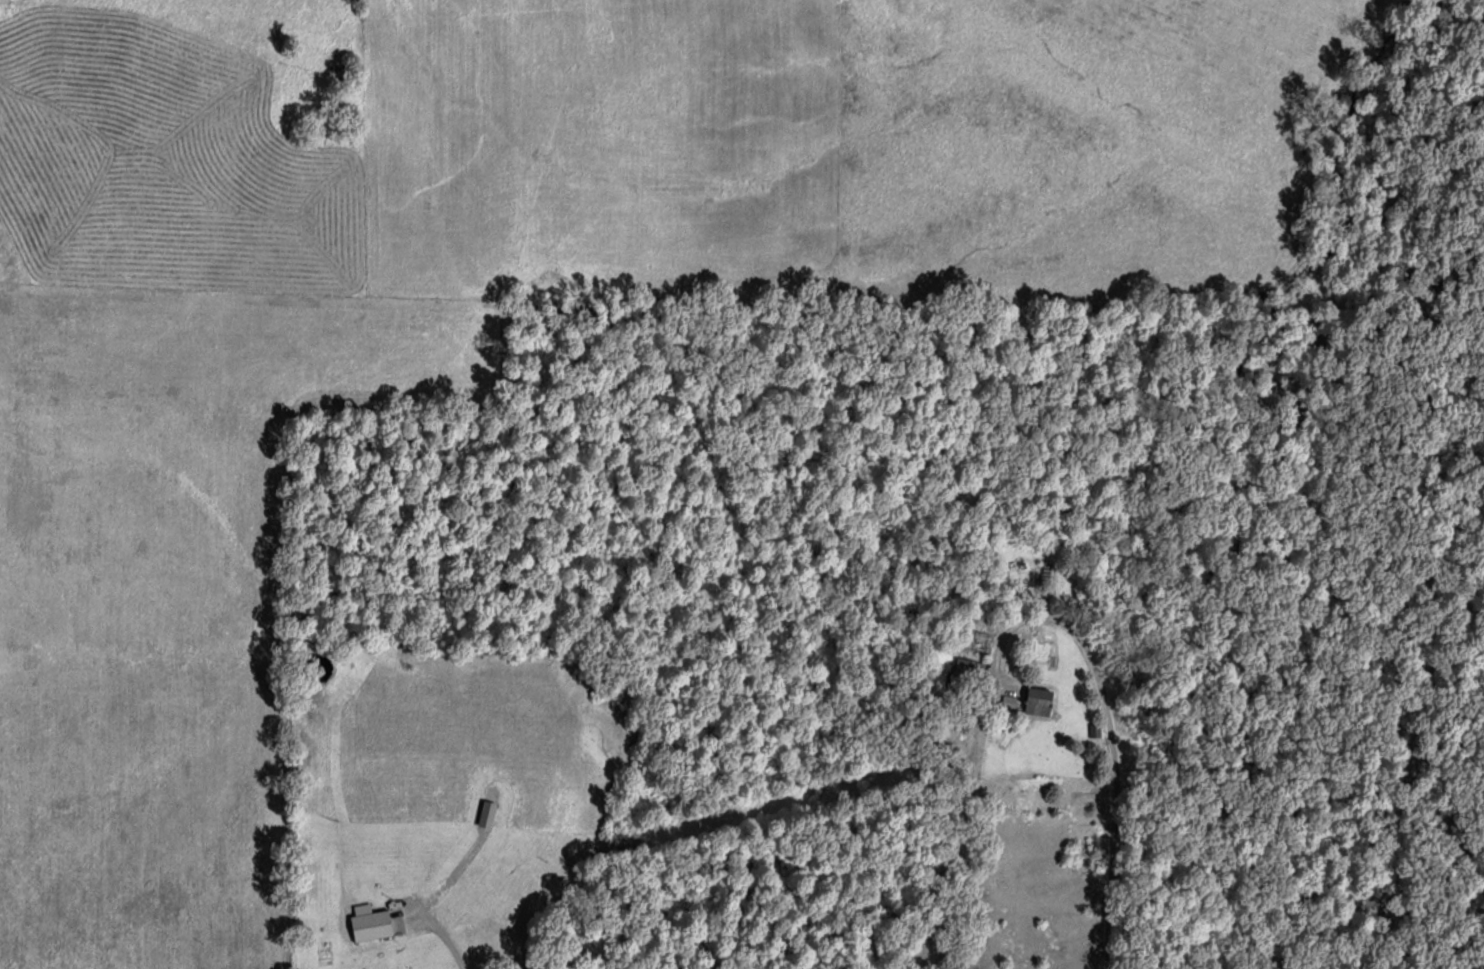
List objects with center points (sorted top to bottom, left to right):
building: (1034, 701)
road: (1115, 737)
building: (367, 926)

